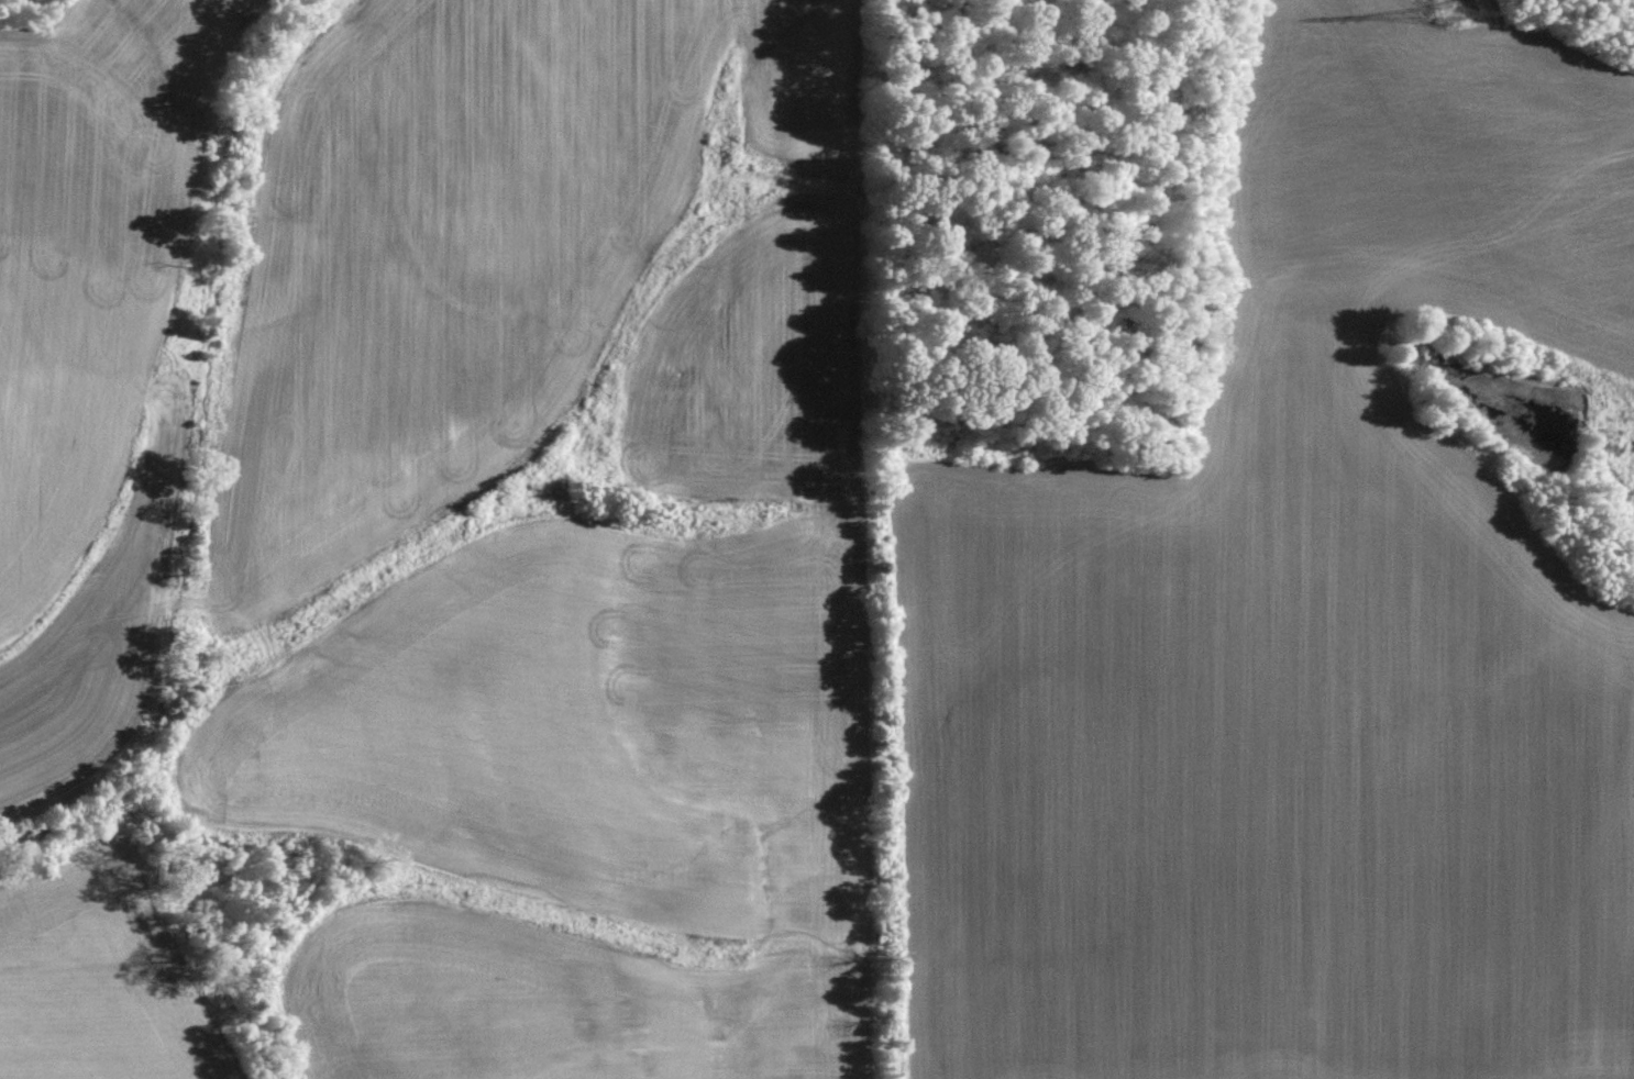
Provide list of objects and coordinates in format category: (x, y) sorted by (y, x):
power tower: (1443, 15)

